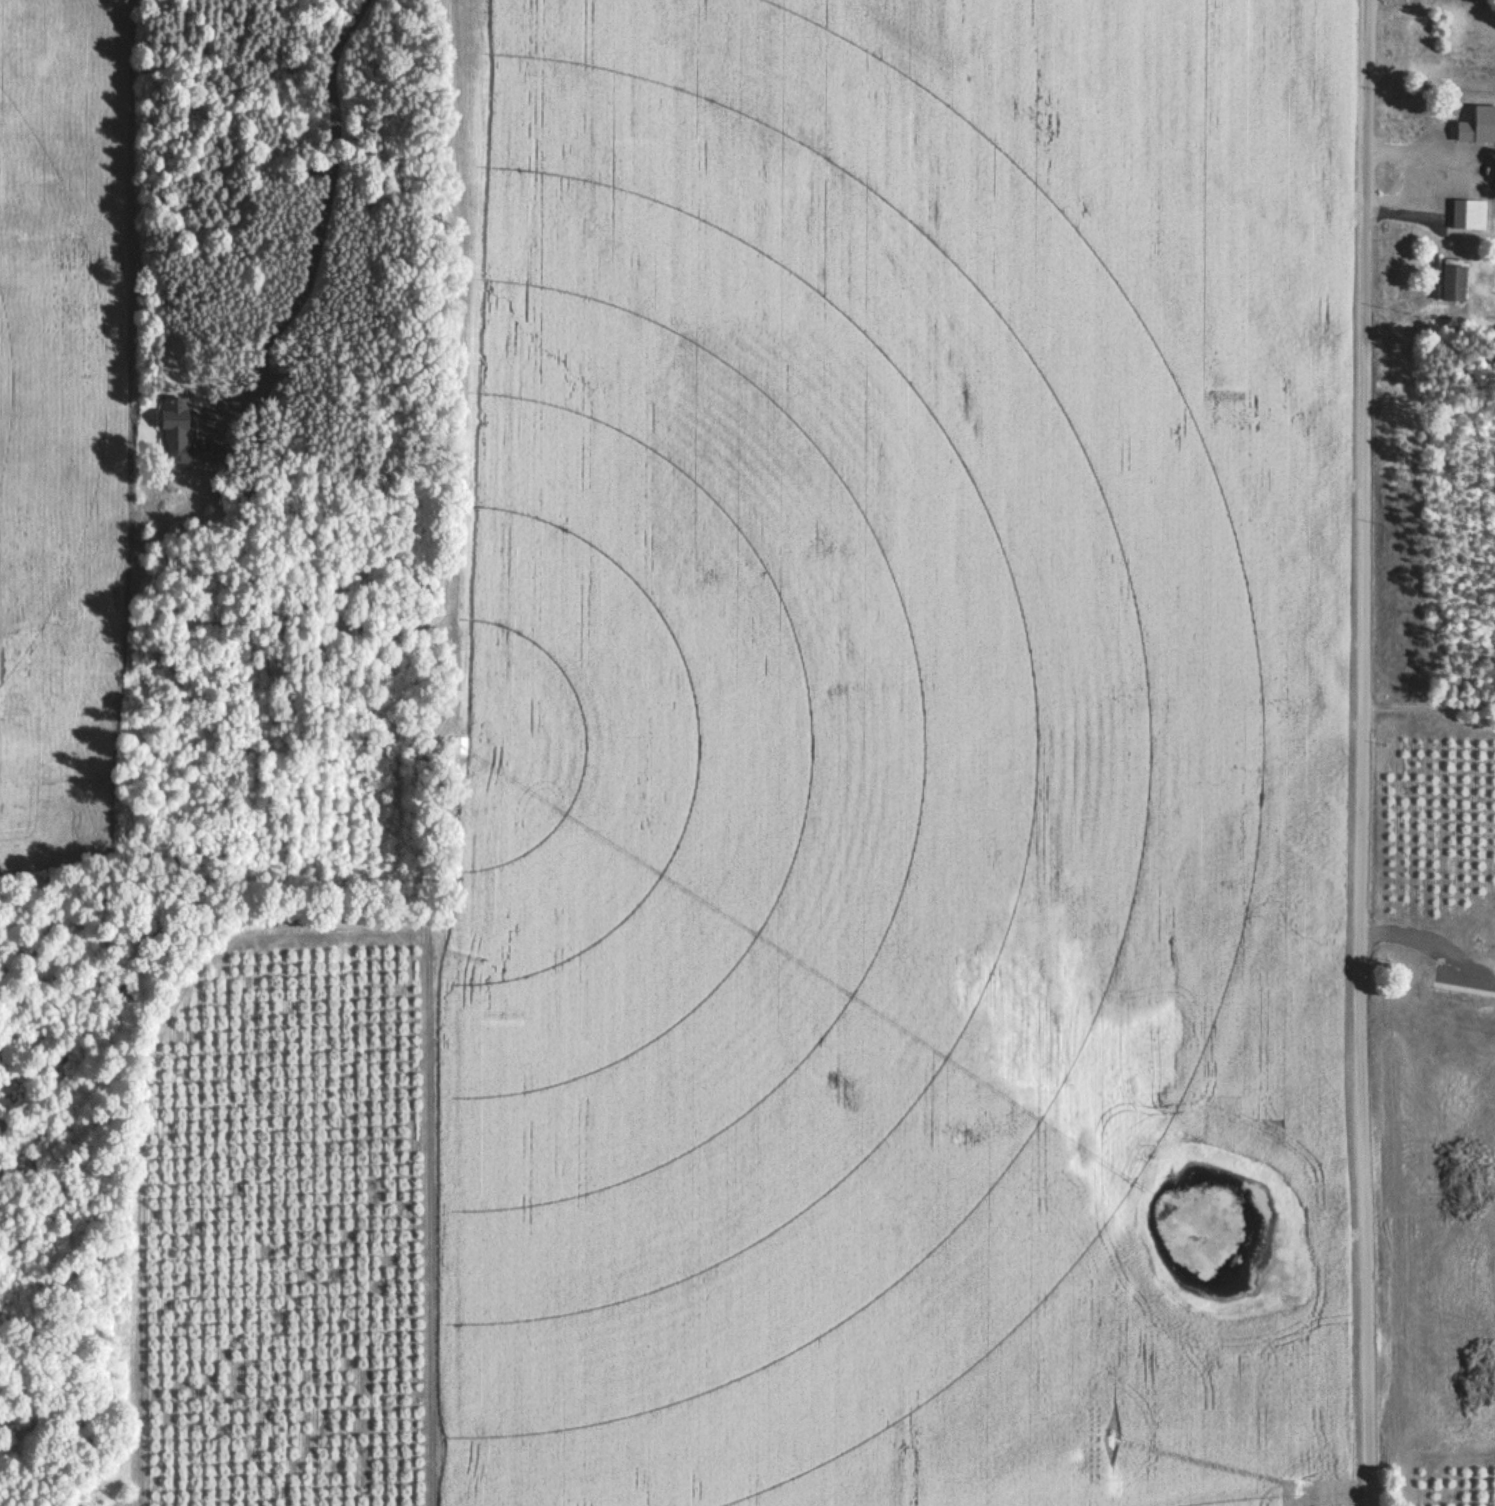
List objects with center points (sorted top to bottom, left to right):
building: (1463, 215)
building: (1452, 283)
building: (1034, 333)
road: (1421, 694)
road: (1348, 753)
building: (481, 1166)

